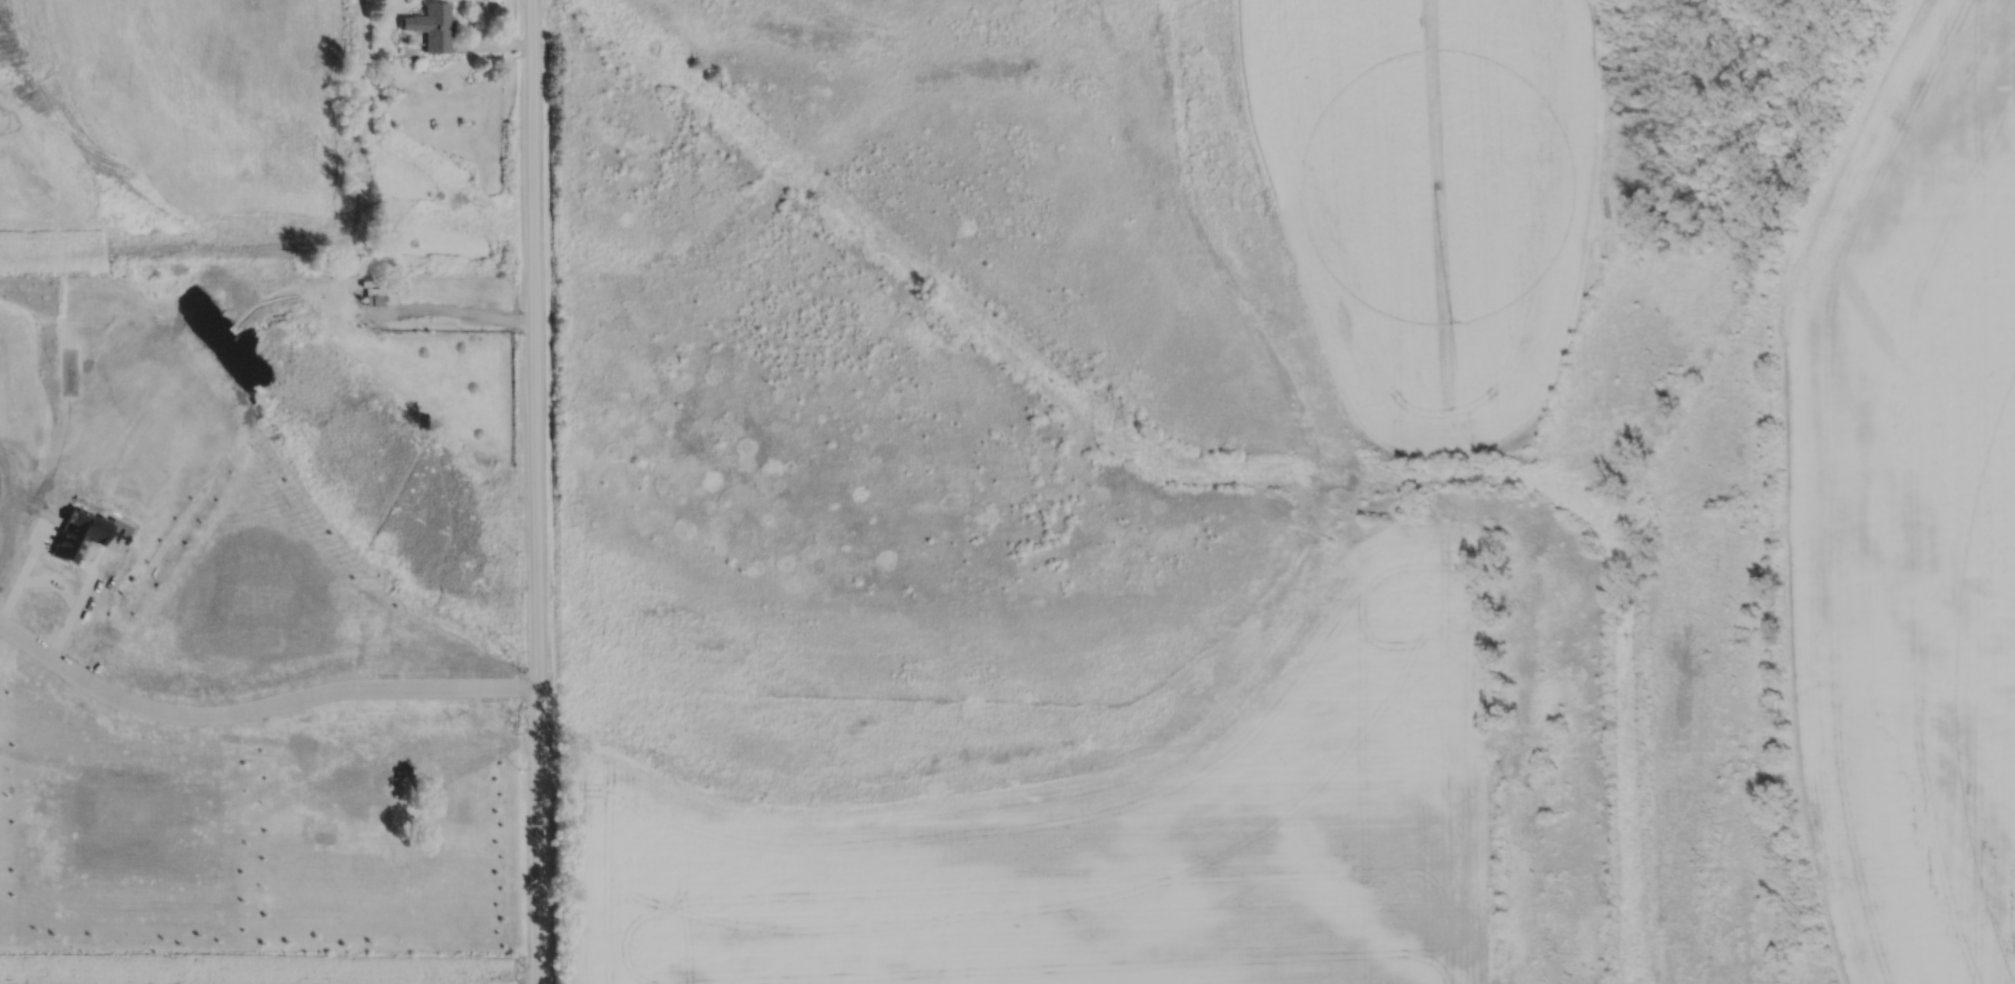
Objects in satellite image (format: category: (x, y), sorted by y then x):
building: (430, 27)
building: (381, 60)
crop: (1431, 197)
building: (372, 299)
road: (456, 309)
road: (536, 491)
crop: (1911, 509)
road: (57, 586)
road: (258, 709)
building: (464, 710)
building: (377, 730)
building: (358, 784)
crop: (1107, 832)
crop: (258, 966)

